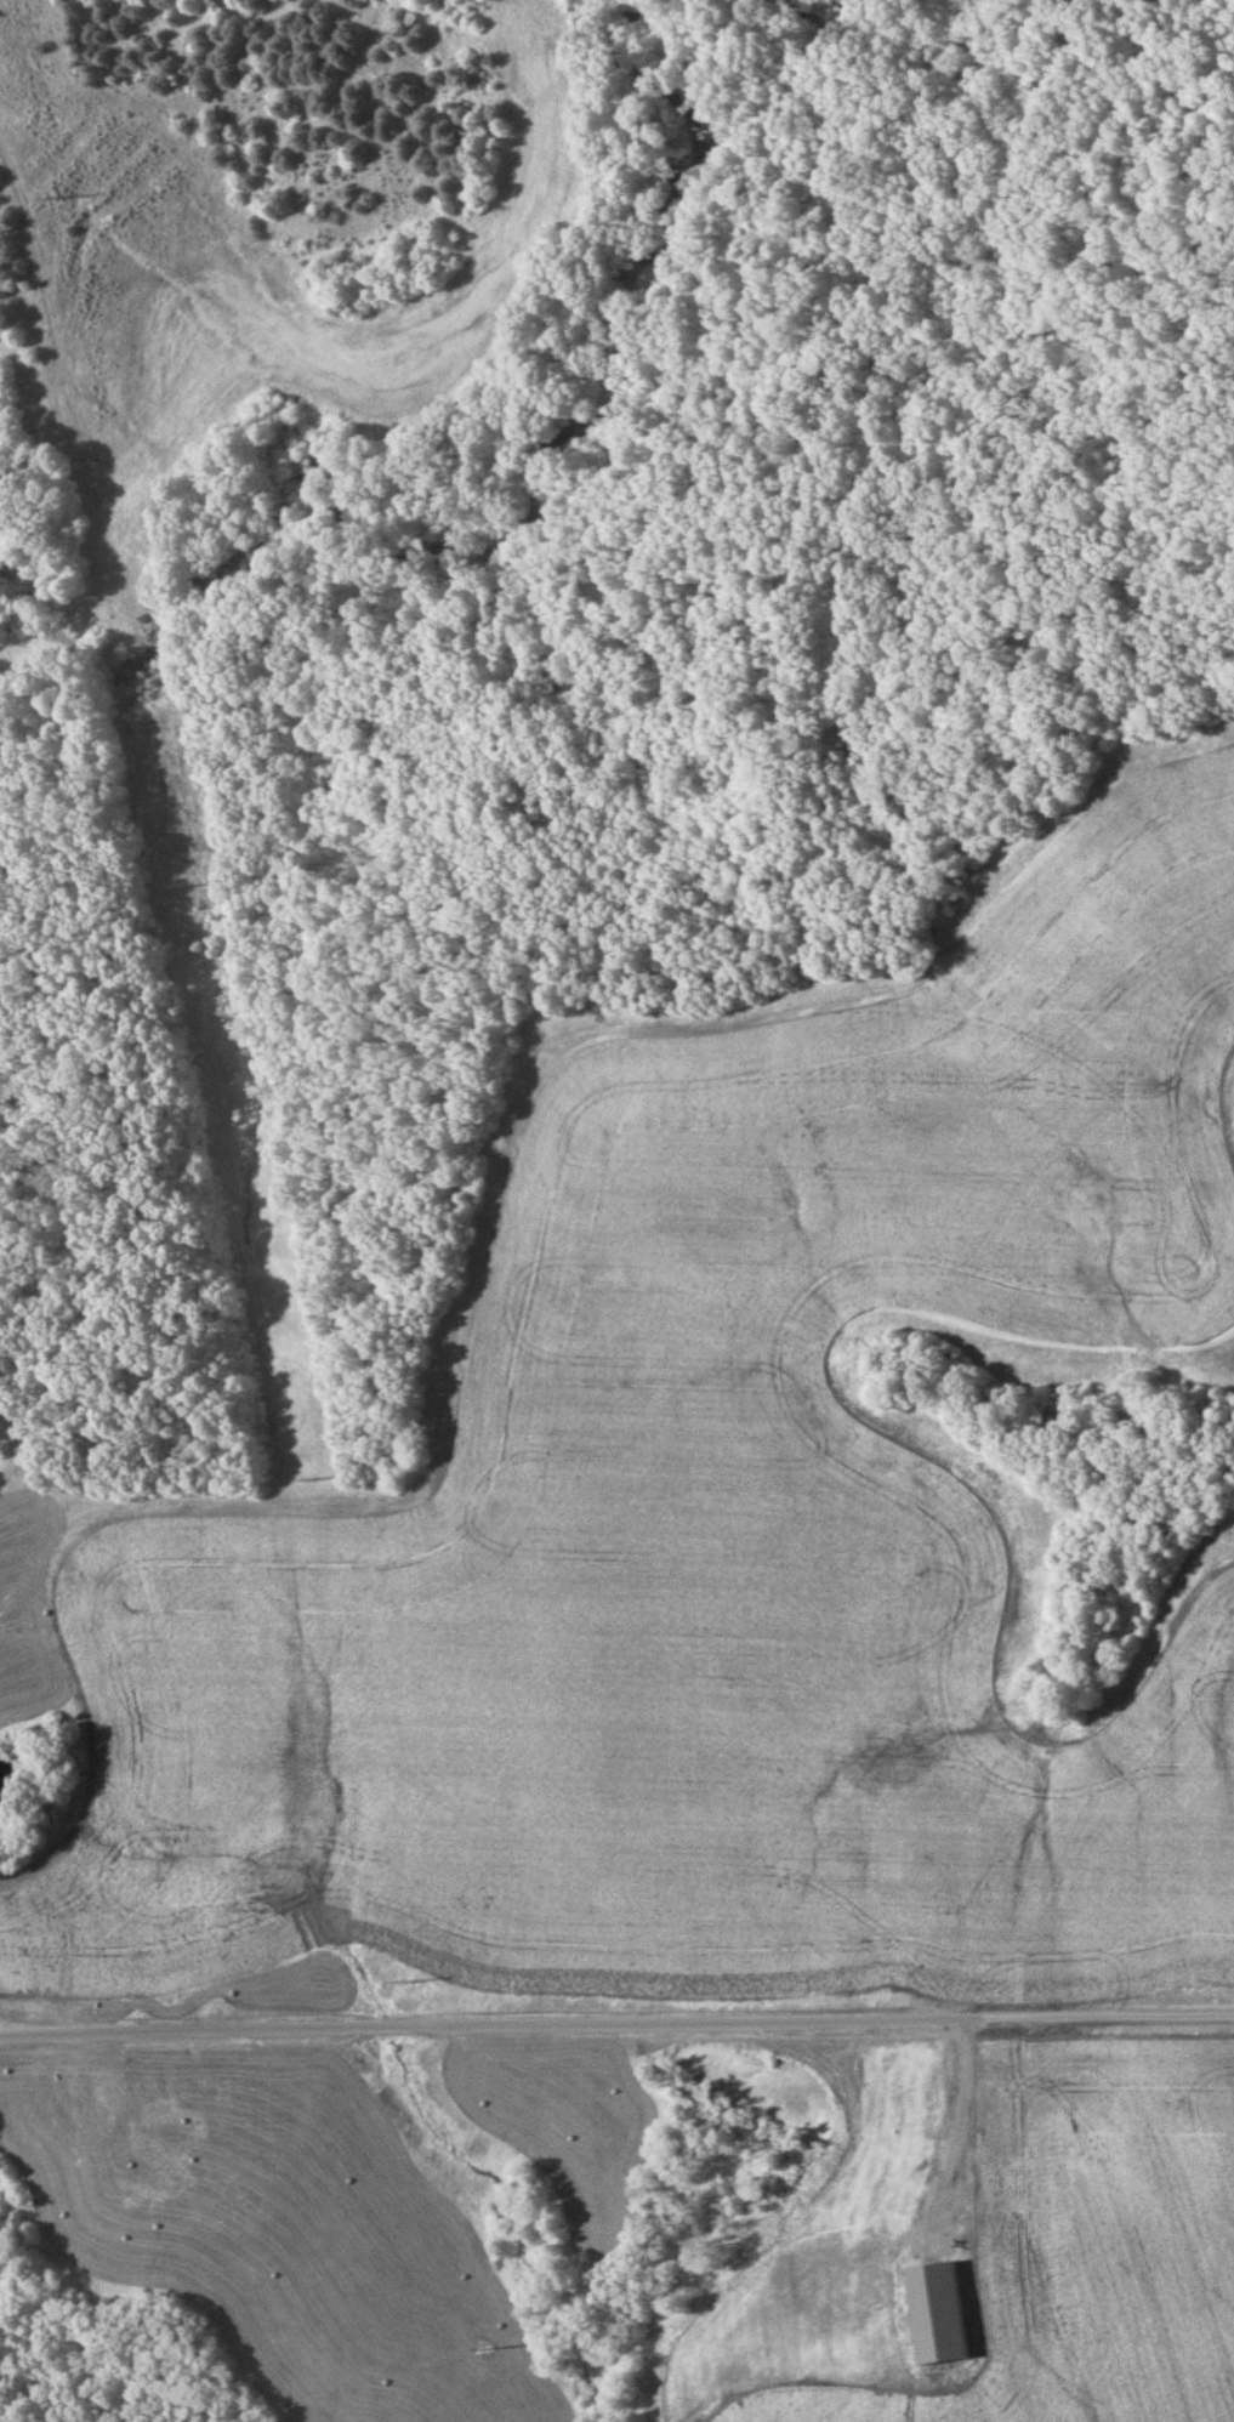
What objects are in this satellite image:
building: (12, 1462)
power tower: (404, 1979)
road: (616, 2025)
building: (108, 2097)
building: (218, 2102)
building: (149, 2115)
road: (967, 2168)
building: (154, 2187)
building: (880, 2307)
power tower: (483, 2344)

